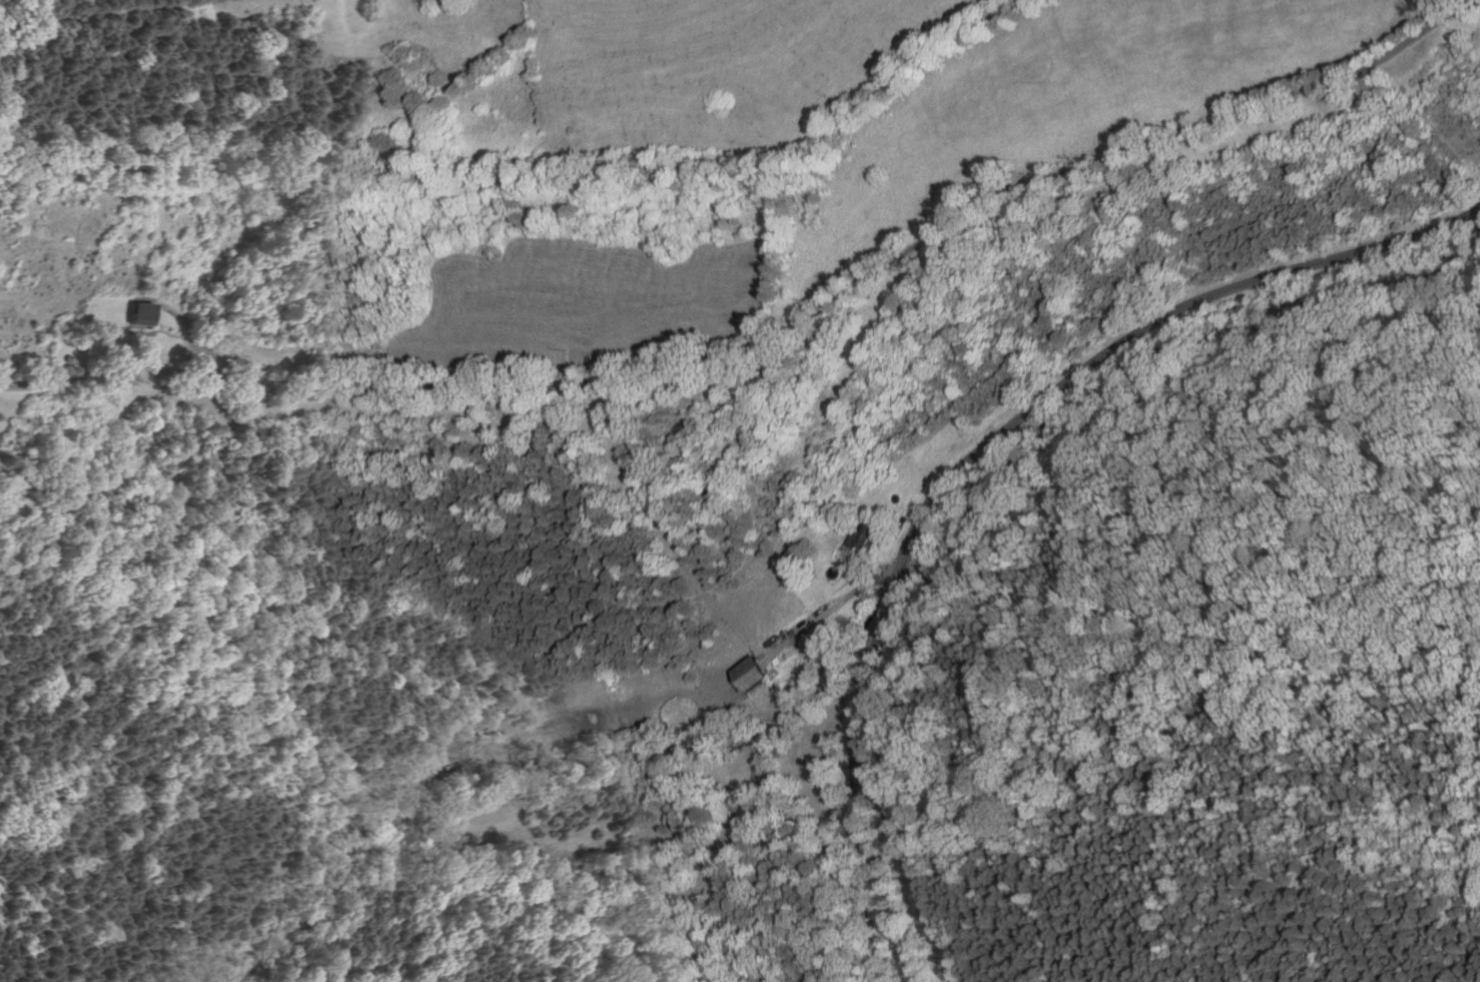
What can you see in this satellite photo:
building: (138, 314)
road: (154, 330)
road: (1143, 330)
road: (196, 337)
road: (775, 337)
road: (195, 344)
building: (68, 359)
building: (860, 535)
road: (892, 597)
road: (830, 608)
building: (746, 671)
road: (859, 799)

